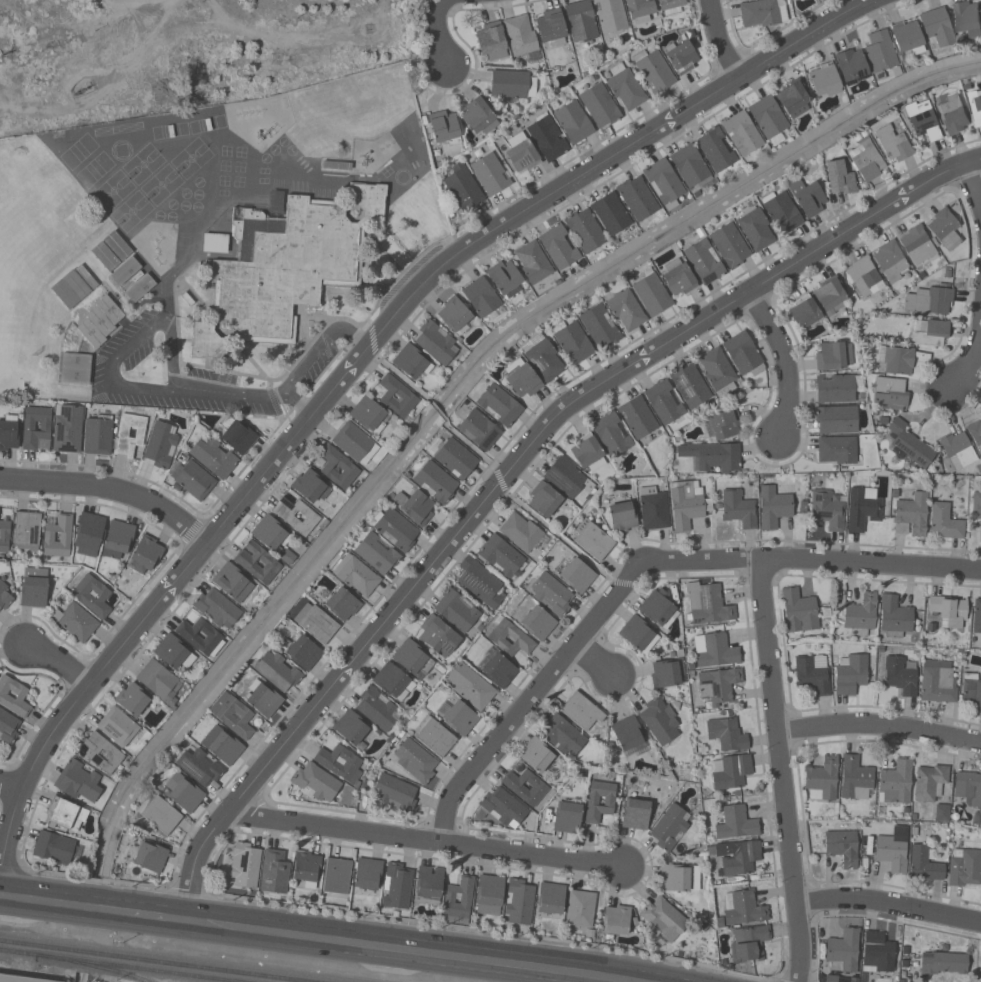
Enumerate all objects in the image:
building: (741, 0)
building: (797, 0)
road: (439, 7)
building: (671, 7)
building: (640, 9)
building: (761, 14)
building: (611, 16)
building: (967, 19)
building: (581, 21)
building: (936, 27)
building: (551, 28)
building: (520, 36)
building: (906, 36)
building: (490, 41)
road: (718, 41)
road: (441, 42)
building: (880, 52)
building: (682, 58)
building: (851, 66)
building: (653, 71)
building: (824, 81)
building: (512, 85)
building: (624, 86)
petroleum well: (83, 90)
building: (791, 99)
building: (599, 106)
building: (976, 107)
building: (953, 114)
building: (478, 118)
building: (768, 119)
building: (573, 122)
building: (922, 122)
building: (443, 127)
building: (741, 133)
building: (547, 138)
building: (893, 143)
building: (715, 150)
building: (521, 154)
building: (866, 160)
road: (973, 161)
building: (689, 166)
building: (490, 175)
building: (838, 179)
building: (663, 182)
road: (973, 187)
building: (463, 188)
building: (807, 198)
building: (636, 199)
building: (781, 212)
building: (597, 224)
building: (944, 229)
building: (755, 230)
building: (729, 246)
building: (918, 246)
building: (545, 255)
building: (703, 262)
building: (890, 262)
building: (287, 270)
building: (125, 272)
building: (863, 276)
building: (505, 278)
building: (677, 279)
building: (139, 288)
building: (650, 294)
building: (829, 295)
building: (481, 298)
building: (929, 301)
building: (625, 311)
building: (803, 312)
building: (454, 315)
building: (100, 322)
building: (599, 327)
building: (929, 333)
road: (134, 342)
building: (572, 342)
building: (435, 343)
road: (972, 354)
building: (743, 355)
building: (834, 356)
building: (542, 357)
road: (310, 359)
road: (785, 361)
building: (894, 361)
road: (359, 362)
building: (410, 363)
building: (75, 370)
building: (717, 371)
building: (521, 380)
building: (690, 387)
building: (837, 389)
building: (890, 394)
road: (228, 395)
building: (397, 397)
building: (664, 402)
building: (498, 406)
building: (369, 415)
building: (637, 418)
building: (836, 421)
building: (723, 425)
building: (36, 428)
building: (67, 429)
building: (478, 431)
building: (611, 434)
building: (975, 435)
building: (8, 436)
building: (129, 436)
building: (97, 437)
building: (238, 437)
building: (355, 443)
building: (160, 445)
building: (909, 445)
building: (958, 450)
building: (837, 451)
building: (586, 452)
building: (213, 457)
building: (714, 458)
building: (455, 459)
building: (338, 469)
road: (509, 474)
building: (565, 477)
building: (194, 481)
building: (435, 483)
road: (110, 485)
building: (310, 487)
building: (543, 500)
building: (686, 505)
building: (774, 507)
building: (418, 508)
building: (976, 508)
building: (654, 509)
building: (739, 509)
building: (863, 509)
building: (827, 510)
building: (911, 516)
building: (298, 517)
building: (622, 517)
building: (945, 523)
building: (26, 531)
building: (396, 531)
building: (520, 532)
building: (269, 533)
building: (88, 535)
building: (4, 536)
building: (57, 536)
building: (118, 541)
building: (593, 542)
building: (376, 554)
building: (145, 556)
building: (286, 557)
building: (502, 558)
road: (813, 559)
building: (257, 562)
building: (575, 574)
building: (356, 576)
building: (232, 582)
building: (480, 582)
building: (34, 588)
building: (550, 594)
building: (93, 596)
building: (4, 597)
building: (708, 604)
building: (342, 605)
building: (657, 607)
building: (217, 609)
building: (456, 611)
building: (799, 611)
building: (948, 612)
building: (861, 613)
building: (895, 615)
building: (976, 616)
building: (75, 622)
building: (537, 623)
building: (315, 624)
building: (199, 635)
building: (638, 635)
building: (437, 636)
building: (509, 638)
building: (717, 651)
building: (173, 652)
building: (304, 654)
building: (413, 659)
road: (595, 659)
road: (53, 660)
building: (499, 671)
building: (277, 672)
building: (667, 674)
building: (813, 674)
building: (849, 674)
building: (900, 677)
building: (159, 681)
building: (393, 682)
building: (938, 682)
building: (470, 686)
building: (718, 686)
building: (972, 691)
road: (532, 696)
building: (14, 697)
building: (133, 699)
building: (263, 701)
building: (377, 709)
building: (232, 715)
building: (458, 717)
building: (659, 721)
road: (879, 724)
building: (8, 727)
building: (117, 727)
building: (353, 729)
building: (726, 735)
building: (627, 736)
building: (435, 737)
building: (562, 737)
building: (222, 745)
building: (101, 752)
road: (946, 753)
building: (536, 757)
building: (415, 760)
building: (340, 763)
building: (199, 767)
road: (780, 769)
building: (729, 772)
building: (856, 779)
building: (822, 780)
building: (79, 781)
building: (316, 783)
building: (895, 783)
building: (929, 783)
road: (12, 784)
building: (525, 788)
building: (968, 788)
building: (396, 793)
building: (183, 794)
building: (599, 802)
building: (503, 809)
building: (942, 813)
building: (635, 814)
building: (65, 815)
building: (161, 816)
building: (567, 818)
building: (736, 824)
building: (670, 827)
road: (424, 838)
building: (55, 848)
building: (842, 848)
building: (892, 850)
building: (149, 857)
building: (741, 859)
building: (244, 866)
building: (924, 866)
building: (306, 867)
building: (964, 868)
building: (274, 873)
building: (367, 874)
building: (336, 876)
building: (679, 879)
building: (428, 885)
building: (397, 886)
building: (489, 895)
building: (550, 899)
road: (63, 901)
building: (458, 901)
building: (519, 902)
road: (889, 904)
building: (742, 908)
building: (580, 909)
road: (154, 913)
building: (664, 919)
building: (614, 921)
building: (748, 944)
road: (393, 949)
building: (842, 952)
building: (877, 953)
railway: (153, 961)
building: (943, 965)
railway: (97, 966)
railway: (117, 966)
building: (21, 979)
road: (770, 981)

